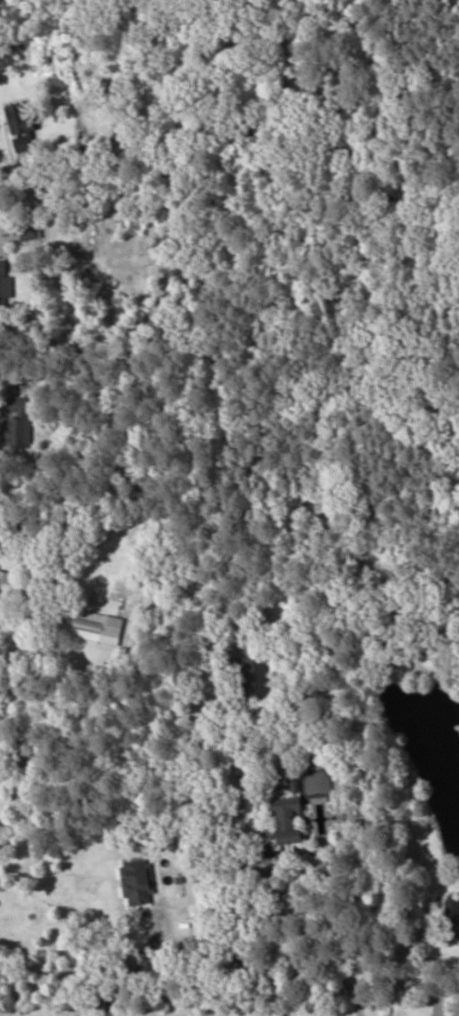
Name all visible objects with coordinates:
building: (5, 285)
building: (17, 424)
building: (5, 593)
building: (98, 628)
building: (251, 679)
building: (290, 820)
building: (139, 883)
building: (453, 920)

